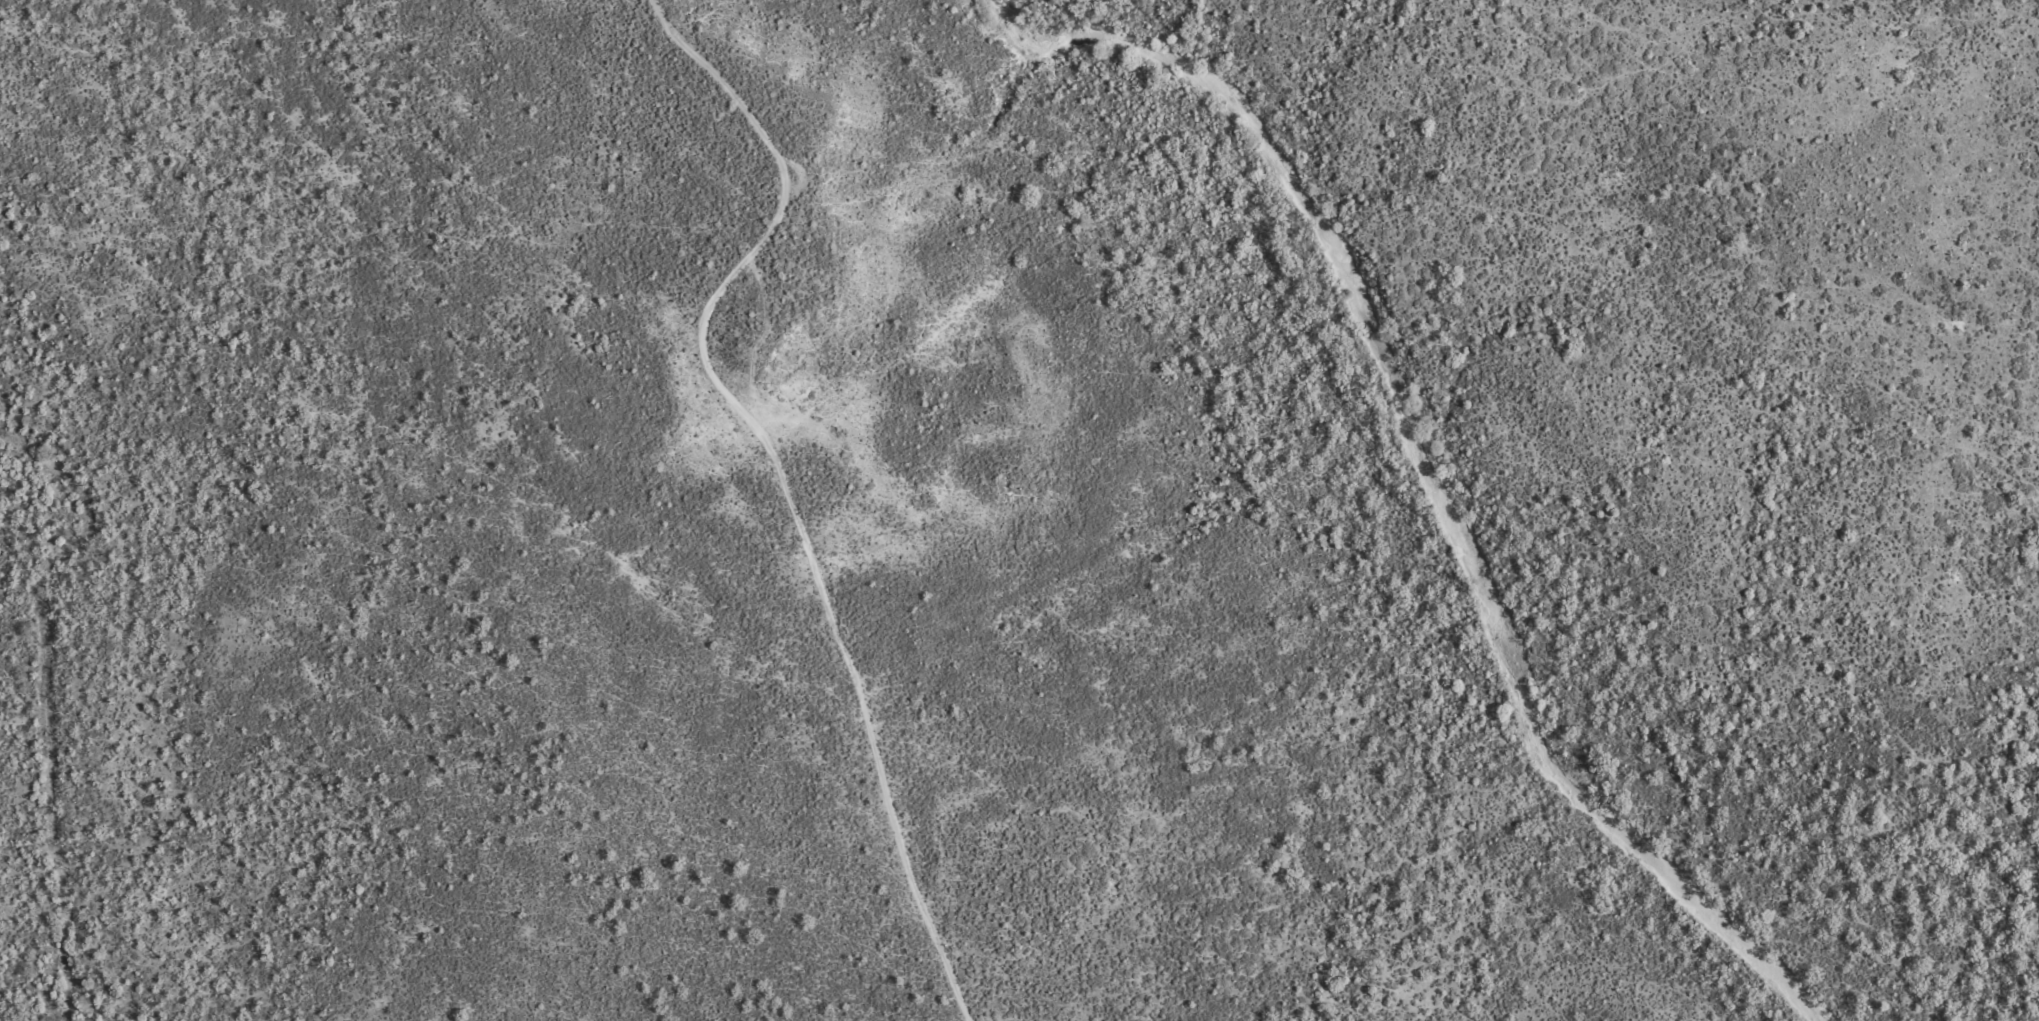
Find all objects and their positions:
road: (790, 511)

